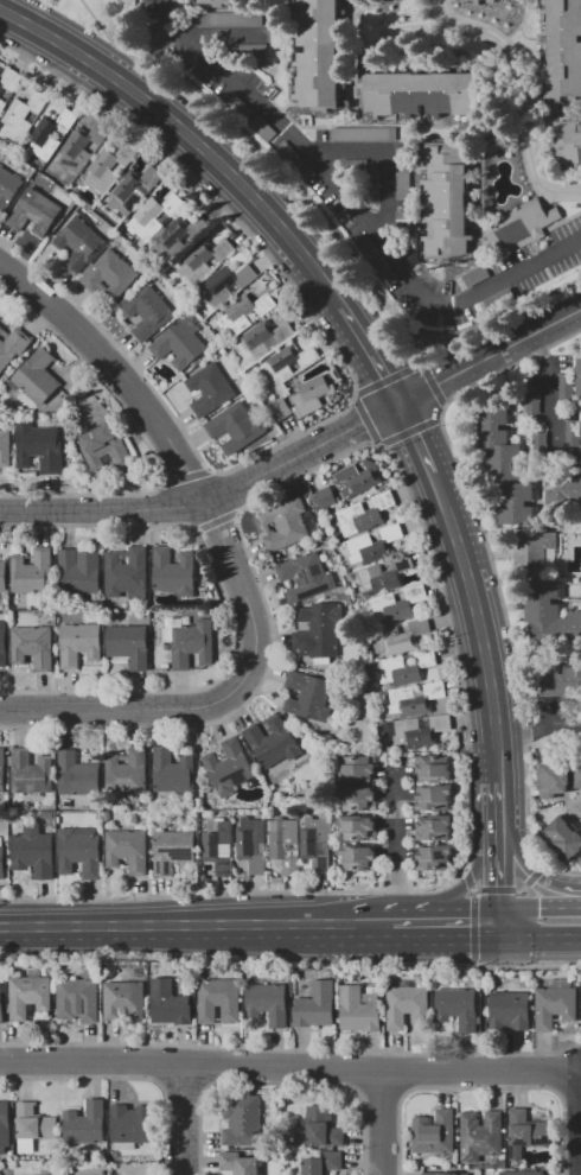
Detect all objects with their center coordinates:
building: (219, 2)
building: (230, 19)
road: (124, 24)
road: (215, 34)
building: (564, 49)
building: (318, 55)
building: (8, 87)
building: (419, 93)
road: (525, 94)
building: (23, 116)
building: (53, 134)
building: (364, 134)
building: (568, 138)
building: (83, 146)
building: (0, 151)
road: (383, 160)
building: (111, 164)
road: (262, 165)
building: (353, 165)
building: (403, 173)
road: (231, 176)
building: (11, 184)
building: (372, 188)
building: (134, 189)
building: (447, 204)
road: (355, 208)
building: (81, 209)
building: (34, 211)
building: (154, 216)
building: (403, 226)
building: (528, 226)
building: (178, 237)
building: (78, 242)
building: (205, 260)
building: (108, 272)
building: (225, 285)
building: (148, 312)
building: (245, 312)
building: (263, 339)
building: (179, 344)
building: (12, 345)
road: (492, 356)
building: (289, 362)
building: (579, 375)
building: (38, 376)
road: (352, 377)
road: (387, 377)
road: (550, 380)
road: (432, 383)
building: (567, 387)
building: (210, 389)
building: (314, 394)
building: (532, 400)
traffic signals: (404, 402)
building: (281, 409)
road: (364, 417)
building: (235, 427)
road: (410, 430)
building: (574, 433)
road: (420, 437)
road: (146, 440)
road: (167, 443)
building: (541, 444)
building: (41, 446)
building: (104, 446)
building: (5, 447)
road: (528, 456)
building: (505, 465)
road: (184, 475)
building: (358, 478)
building: (563, 487)
road: (222, 490)
building: (327, 496)
road: (212, 497)
road: (178, 503)
building: (365, 514)
road: (562, 523)
building: (285, 525)
road: (523, 529)
road: (558, 532)
road: (507, 542)
building: (375, 545)
building: (534, 551)
road: (504, 555)
building: (79, 571)
building: (126, 571)
building: (174, 571)
building: (32, 572)
road: (494, 573)
building: (2, 574)
building: (353, 576)
building: (306, 577)
road: (438, 578)
building: (378, 579)
building: (344, 589)
building: (360, 597)
building: (19, 599)
building: (398, 603)
building: (548, 614)
road: (232, 615)
road: (486, 622)
building: (319, 628)
building: (401, 636)
building: (81, 642)
building: (191, 642)
building: (4, 643)
building: (129, 644)
building: (33, 646)
building: (406, 668)
building: (561, 680)
building: (308, 696)
building: (414, 699)
building: (566, 706)
road: (130, 709)
building: (390, 728)
road: (541, 728)
building: (421, 730)
building: (273, 742)
building: (384, 749)
building: (229, 767)
building: (358, 768)
building: (434, 768)
building: (2, 770)
building: (127, 770)
building: (172, 770)
building: (33, 773)
building: (77, 774)
building: (579, 776)
building: (555, 779)
building: (359, 798)
building: (434, 798)
road: (503, 807)
building: (59, 813)
building: (49, 814)
building: (100, 814)
building: (108, 815)
building: (359, 827)
building: (433, 827)
building: (566, 837)
building: (317, 843)
building: (218, 844)
building: (253, 844)
building: (286, 844)
building: (33, 850)
building: (127, 850)
building: (173, 850)
road: (395, 850)
building: (79, 851)
building: (359, 857)
building: (434, 857)
building: (2, 862)
road: (535, 872)
road: (535, 874)
road: (504, 879)
road: (467, 881)
road: (466, 883)
road: (519, 888)
road: (493, 890)
road: (541, 908)
road: (197, 926)
road: (408, 926)
road: (464, 926)
road: (473, 926)
traffic signals: (506, 926)
road: (542, 938)
road: (289, 958)
building: (28, 995)
building: (79, 997)
building: (124, 999)
building: (219, 1001)
building: (170, 1003)
building: (268, 1003)
building: (555, 1003)
building: (317, 1004)
building: (407, 1004)
building: (456, 1006)
building: (1, 1008)
building: (359, 1009)
building: (510, 1009)
road: (481, 1012)
road: (290, 1048)
road: (157, 1062)
road: (211, 1063)
road: (289, 1067)
road: (356, 1071)
road: (402, 1072)
road: (126, 1078)
road: (183, 1081)
road: (277, 1082)
road: (480, 1086)
road: (379, 1092)
road: (183, 1118)
building: (243, 1120)
building: (34, 1122)
building: (85, 1123)
road: (579, 1123)
building: (129, 1124)
road: (382, 1124)
building: (5, 1125)
building: (319, 1128)
building: (434, 1132)
building: (525, 1132)
building: (480, 1135)
building: (240, 1163)
building: (323, 1163)
building: (522, 1173)
building: (446, 1174)

